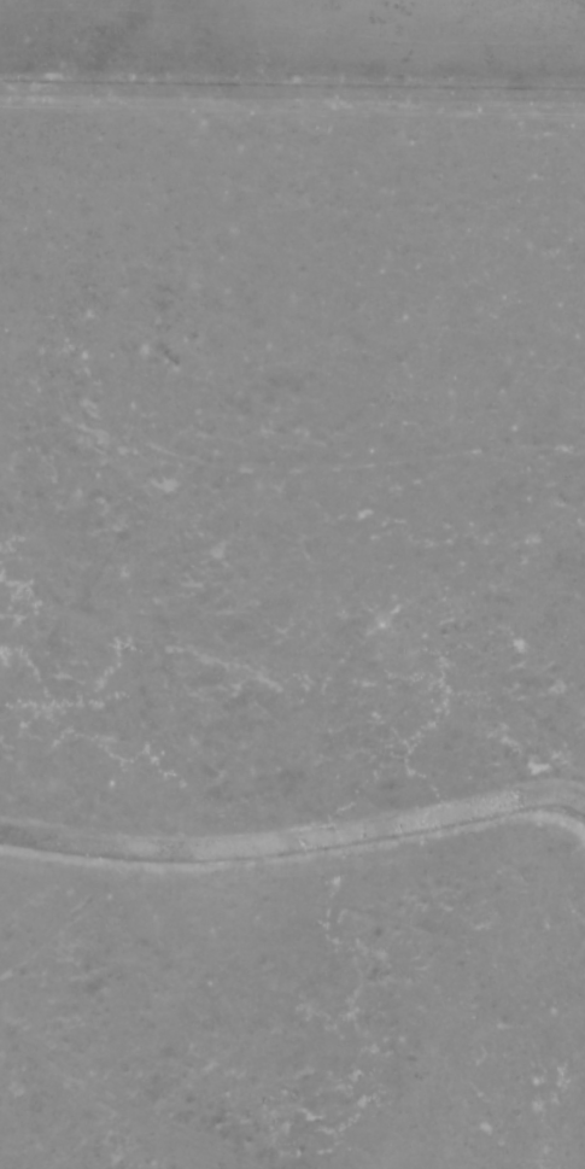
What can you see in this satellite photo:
road: (141, 1070)

